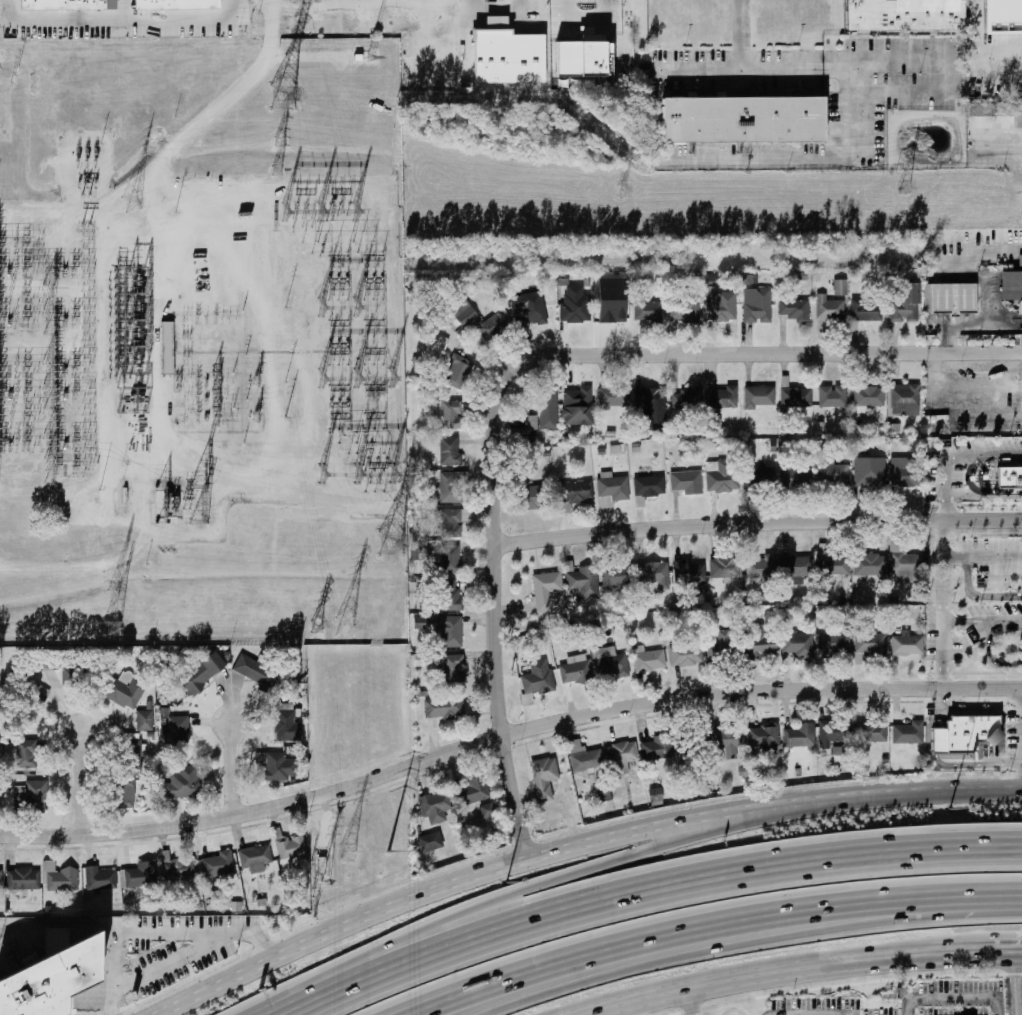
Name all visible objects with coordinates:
building: (171, 4)
building: (57, 6)
road: (496, 9)
building: (903, 14)
road: (586, 16)
building: (1001, 16)
road: (119, 23)
road: (740, 36)
parking lot: (991, 53)
building: (578, 55)
road: (311, 57)
road: (739, 72)
power tower: (284, 97)
building: (1016, 112)
building: (988, 115)
building: (742, 117)
power tower: (278, 139)
road: (172, 147)
power tower: (275, 170)
power tower: (907, 188)
power tower: (620, 189)
power tower: (130, 203)
building: (1019, 259)
building: (748, 279)
building: (840, 286)
building: (1011, 287)
building: (947, 297)
building: (906, 302)
building: (758, 304)
building: (721, 305)
building: (829, 307)
building: (530, 309)
building: (574, 309)
building: (796, 309)
building: (611, 310)
building: (867, 310)
building: (647, 311)
building: (684, 311)
building: (1021, 320)
building: (488, 327)
building: (1021, 331)
power substation: (200, 342)
building: (167, 347)
road: (825, 353)
building: (457, 370)
power tower: (255, 382)
road: (959, 388)
building: (794, 395)
building: (723, 396)
building: (832, 396)
building: (868, 396)
building: (613, 397)
building: (759, 397)
building: (687, 398)
building: (903, 399)
building: (577, 405)
building: (652, 407)
building: (545, 411)
building: (448, 412)
power tower: (254, 416)
building: (715, 426)
parking lot: (988, 445)
building: (451, 450)
road: (986, 455)
building: (906, 469)
building: (833, 473)
building: (869, 474)
road: (980, 474)
building: (1009, 475)
parking lot: (940, 476)
road: (969, 476)
building: (759, 477)
building: (722, 478)
building: (796, 479)
building: (686, 483)
building: (452, 485)
building: (647, 487)
road: (945, 487)
building: (612, 488)
building: (576, 491)
building: (529, 492)
road: (983, 497)
building: (451, 520)
road: (756, 525)
power tower: (392, 544)
building: (417, 551)
road: (981, 554)
parking lot: (999, 554)
road: (492, 556)
building: (448, 557)
building: (833, 564)
building: (869, 564)
building: (905, 565)
building: (725, 567)
building: (761, 567)
building: (796, 567)
building: (687, 571)
building: (653, 573)
road: (967, 575)
building: (617, 576)
building: (582, 582)
building: (547, 591)
building: (451, 594)
power tower: (110, 603)
road: (942, 603)
parking lot: (995, 610)
road: (982, 619)
power tower: (314, 628)
power tower: (341, 628)
power tower: (110, 629)
building: (448, 631)
parking lot: (939, 639)
building: (759, 643)
building: (834, 644)
building: (907, 644)
building: (797, 645)
building: (870, 645)
road: (988, 646)
building: (722, 647)
building: (685, 655)
building: (648, 659)
building: (57, 660)
building: (609, 662)
building: (453, 667)
building: (576, 670)
building: (202, 673)
building: (253, 673)
building: (536, 679)
building: (125, 690)
building: (33, 702)
building: (444, 708)
road: (973, 710)
building: (144, 720)
building: (285, 721)
road: (505, 731)
building: (871, 731)
building: (175, 732)
building: (833, 732)
building: (907, 733)
building: (968, 733)
building: (762, 735)
building: (799, 735)
building: (728, 740)
building: (693, 741)
building: (937, 741)
building: (655, 748)
building: (836, 751)
building: (620, 752)
building: (26, 753)
building: (131, 753)
building: (583, 757)
road: (230, 766)
building: (278, 766)
building: (544, 778)
road: (77, 780)
building: (183, 782)
building: (472, 790)
building: (123, 792)
building: (603, 792)
building: (30, 796)
building: (435, 805)
building: (487, 810)
building: (430, 841)
building: (291, 846)
road: (573, 846)
power tower: (346, 852)
power tower: (387, 852)
building: (254, 857)
building: (217, 863)
building: (177, 867)
building: (140, 874)
building: (59, 876)
power tower: (320, 876)
building: (1, 877)
building: (100, 877)
building: (22, 878)
road: (524, 886)
road: (649, 894)
road: (58, 921)
road: (713, 923)
road: (198, 931)
road: (756, 936)
parking lot: (177, 946)
road: (1008, 952)
road: (175, 960)
road: (785, 971)
road: (113, 973)
building: (50, 980)
road: (1014, 983)
road: (952, 996)
road: (692, 1001)
parking lot: (912, 1001)
flagpole: (881, 1003)
flagpole: (887, 1003)
flagpole: (893, 1003)
road: (995, 1005)
road: (908, 1006)
road: (807, 1014)

